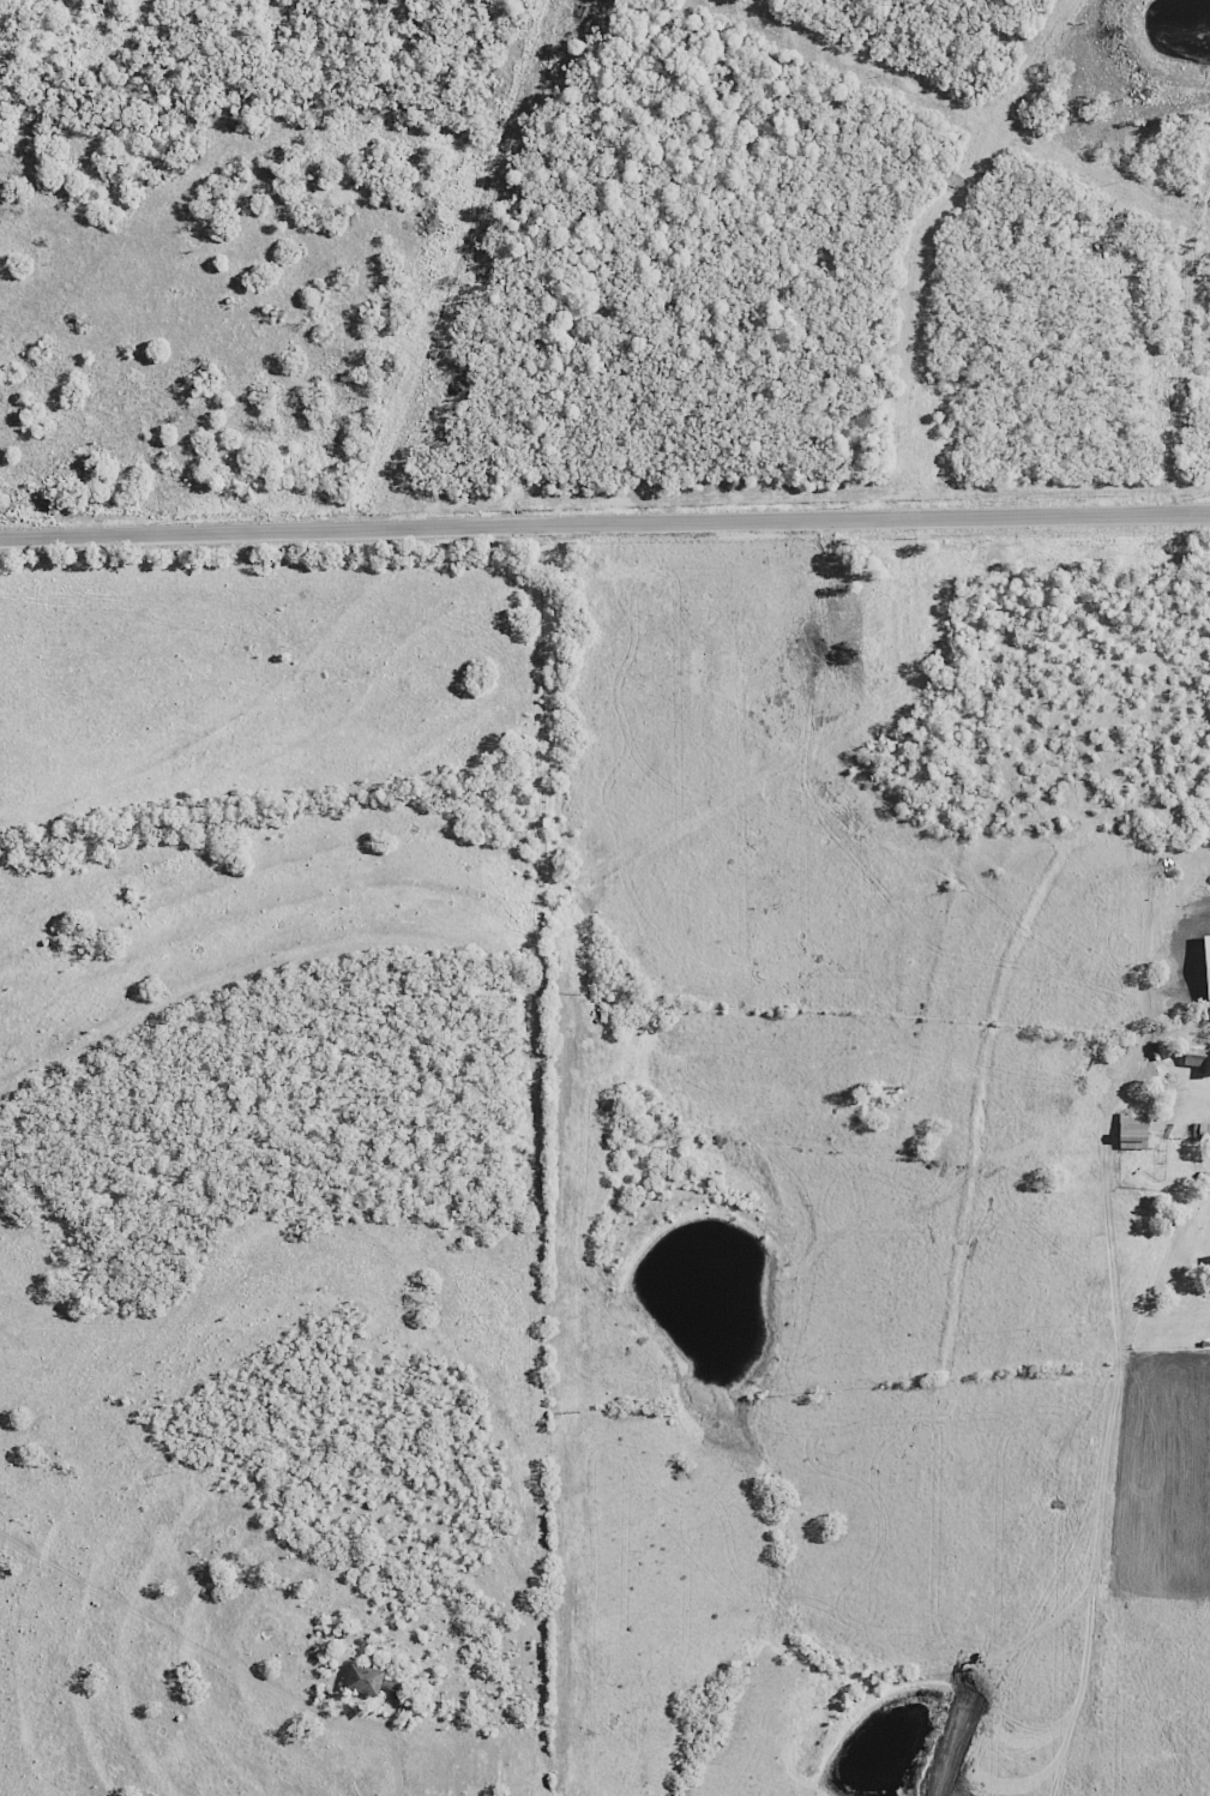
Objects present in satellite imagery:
road: (604, 518)
building: (1198, 1061)
building: (1132, 1130)
building: (363, 1678)

